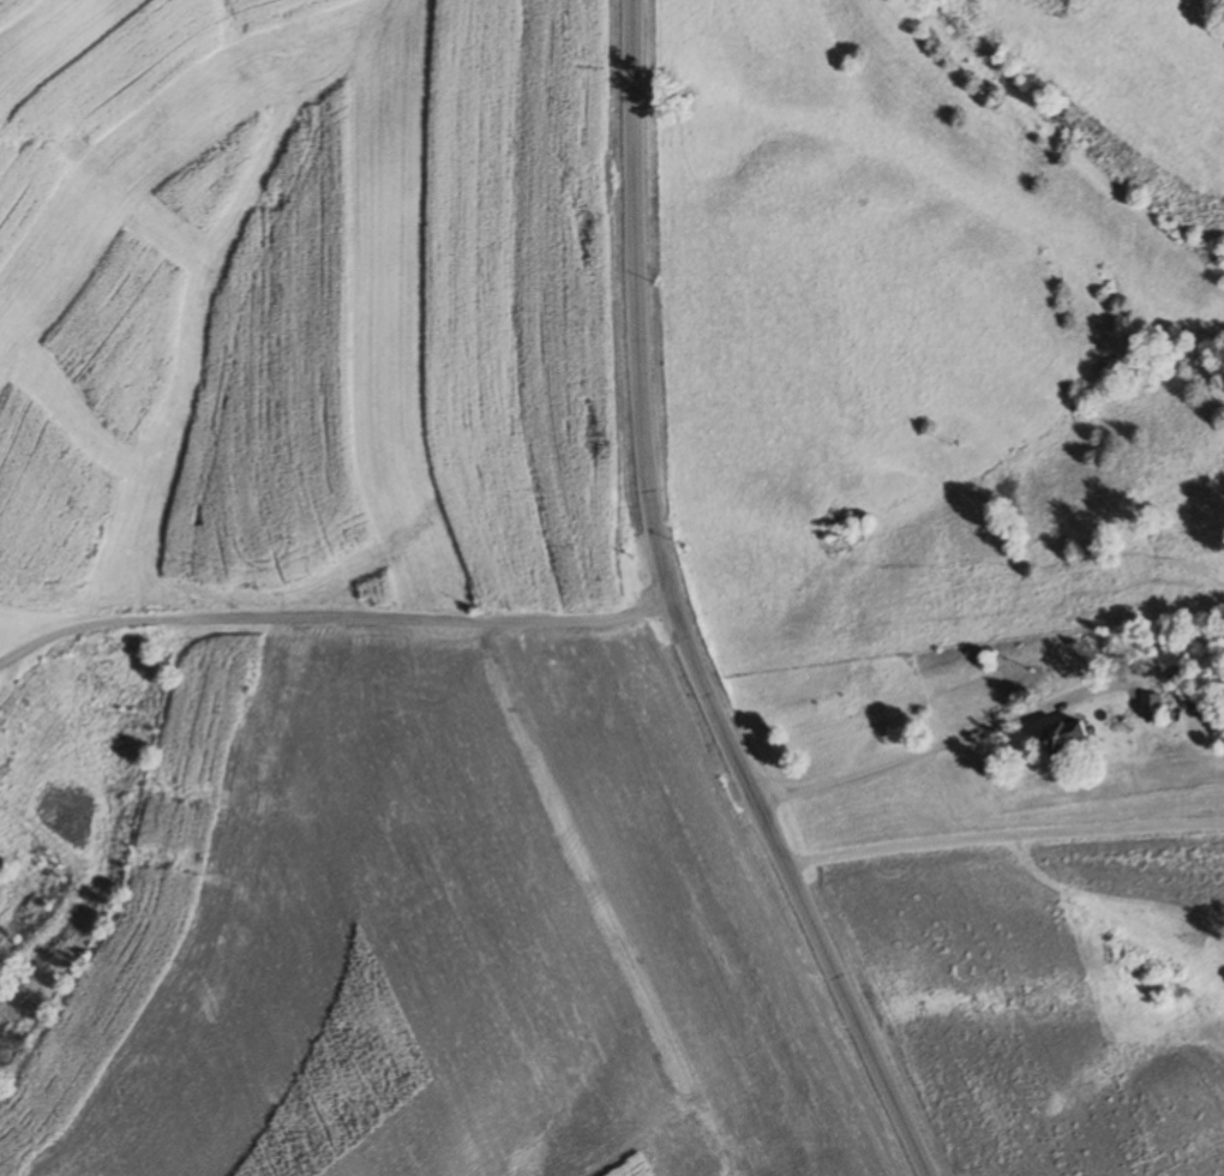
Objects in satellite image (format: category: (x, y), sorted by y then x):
road: (673, 613)
road: (332, 619)
building: (1152, 708)
building: (1067, 738)
road: (936, 749)
road: (1002, 834)

